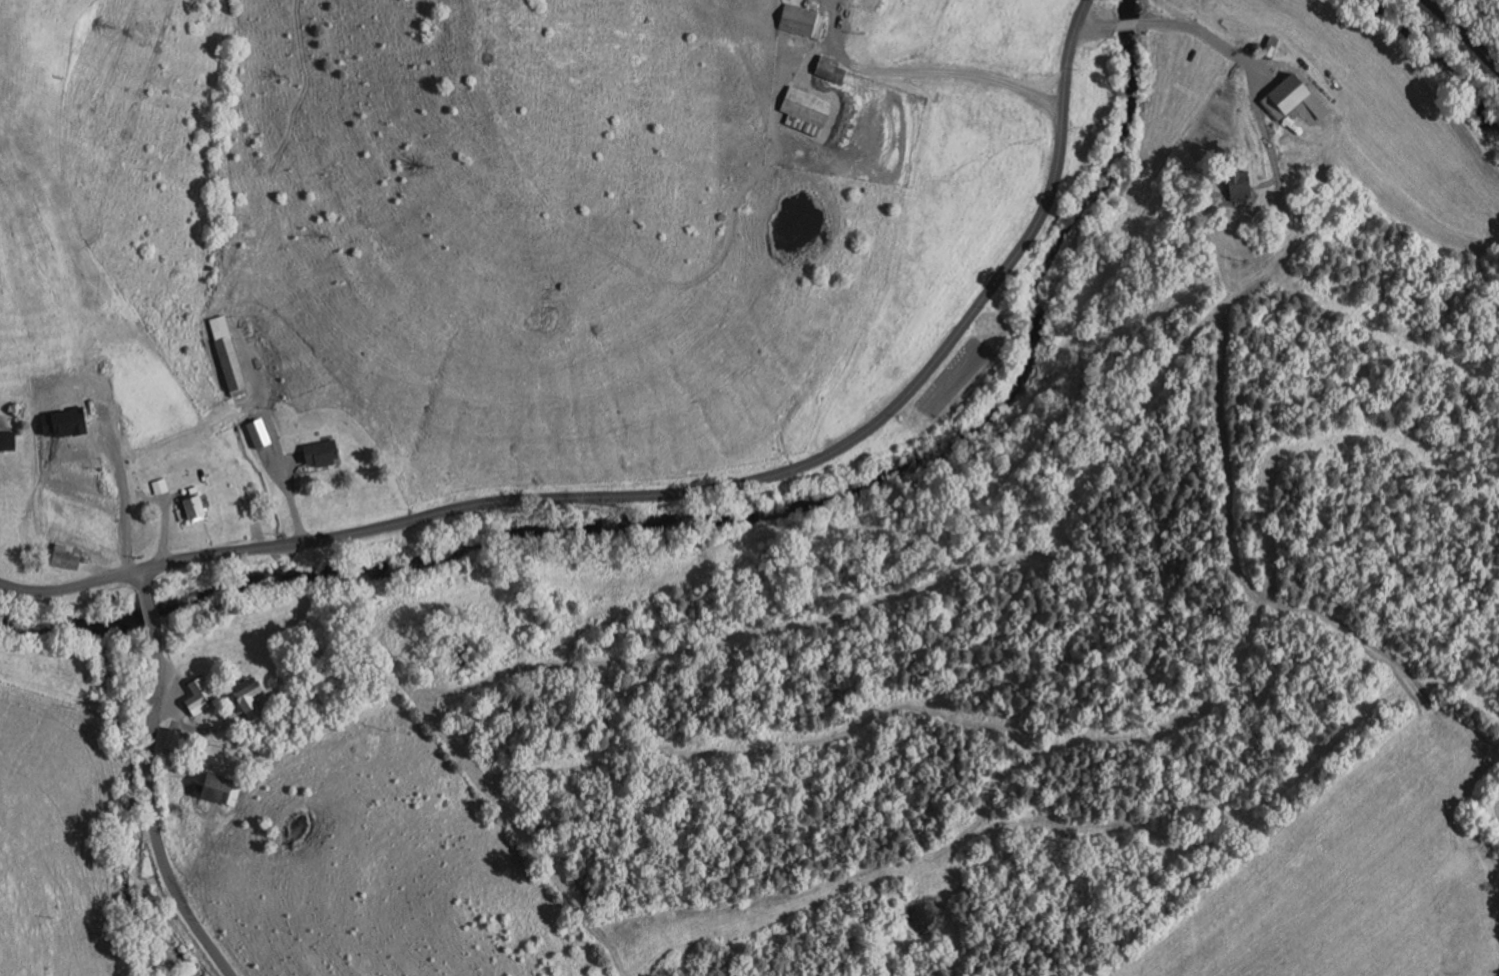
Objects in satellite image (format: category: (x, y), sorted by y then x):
building: (801, 20)
road: (1127, 23)
road: (1097, 24)
road: (1465, 33)
building: (1271, 47)
building: (828, 68)
road: (922, 71)
road: (1252, 78)
building: (1288, 98)
building: (804, 110)
building: (1238, 185)
road: (649, 277)
building: (232, 367)
building: (258, 432)
road: (271, 432)
building: (7, 439)
building: (319, 452)
road: (292, 461)
building: (186, 474)
road: (753, 479)
road: (1227, 487)
road: (153, 494)
building: (193, 507)
road: (164, 523)
building: (65, 555)
road: (140, 578)
road: (69, 586)
road: (147, 607)
building: (248, 692)
building: (198, 695)
road: (193, 730)
building: (170, 739)
building: (250, 766)
building: (216, 788)
road: (150, 811)

